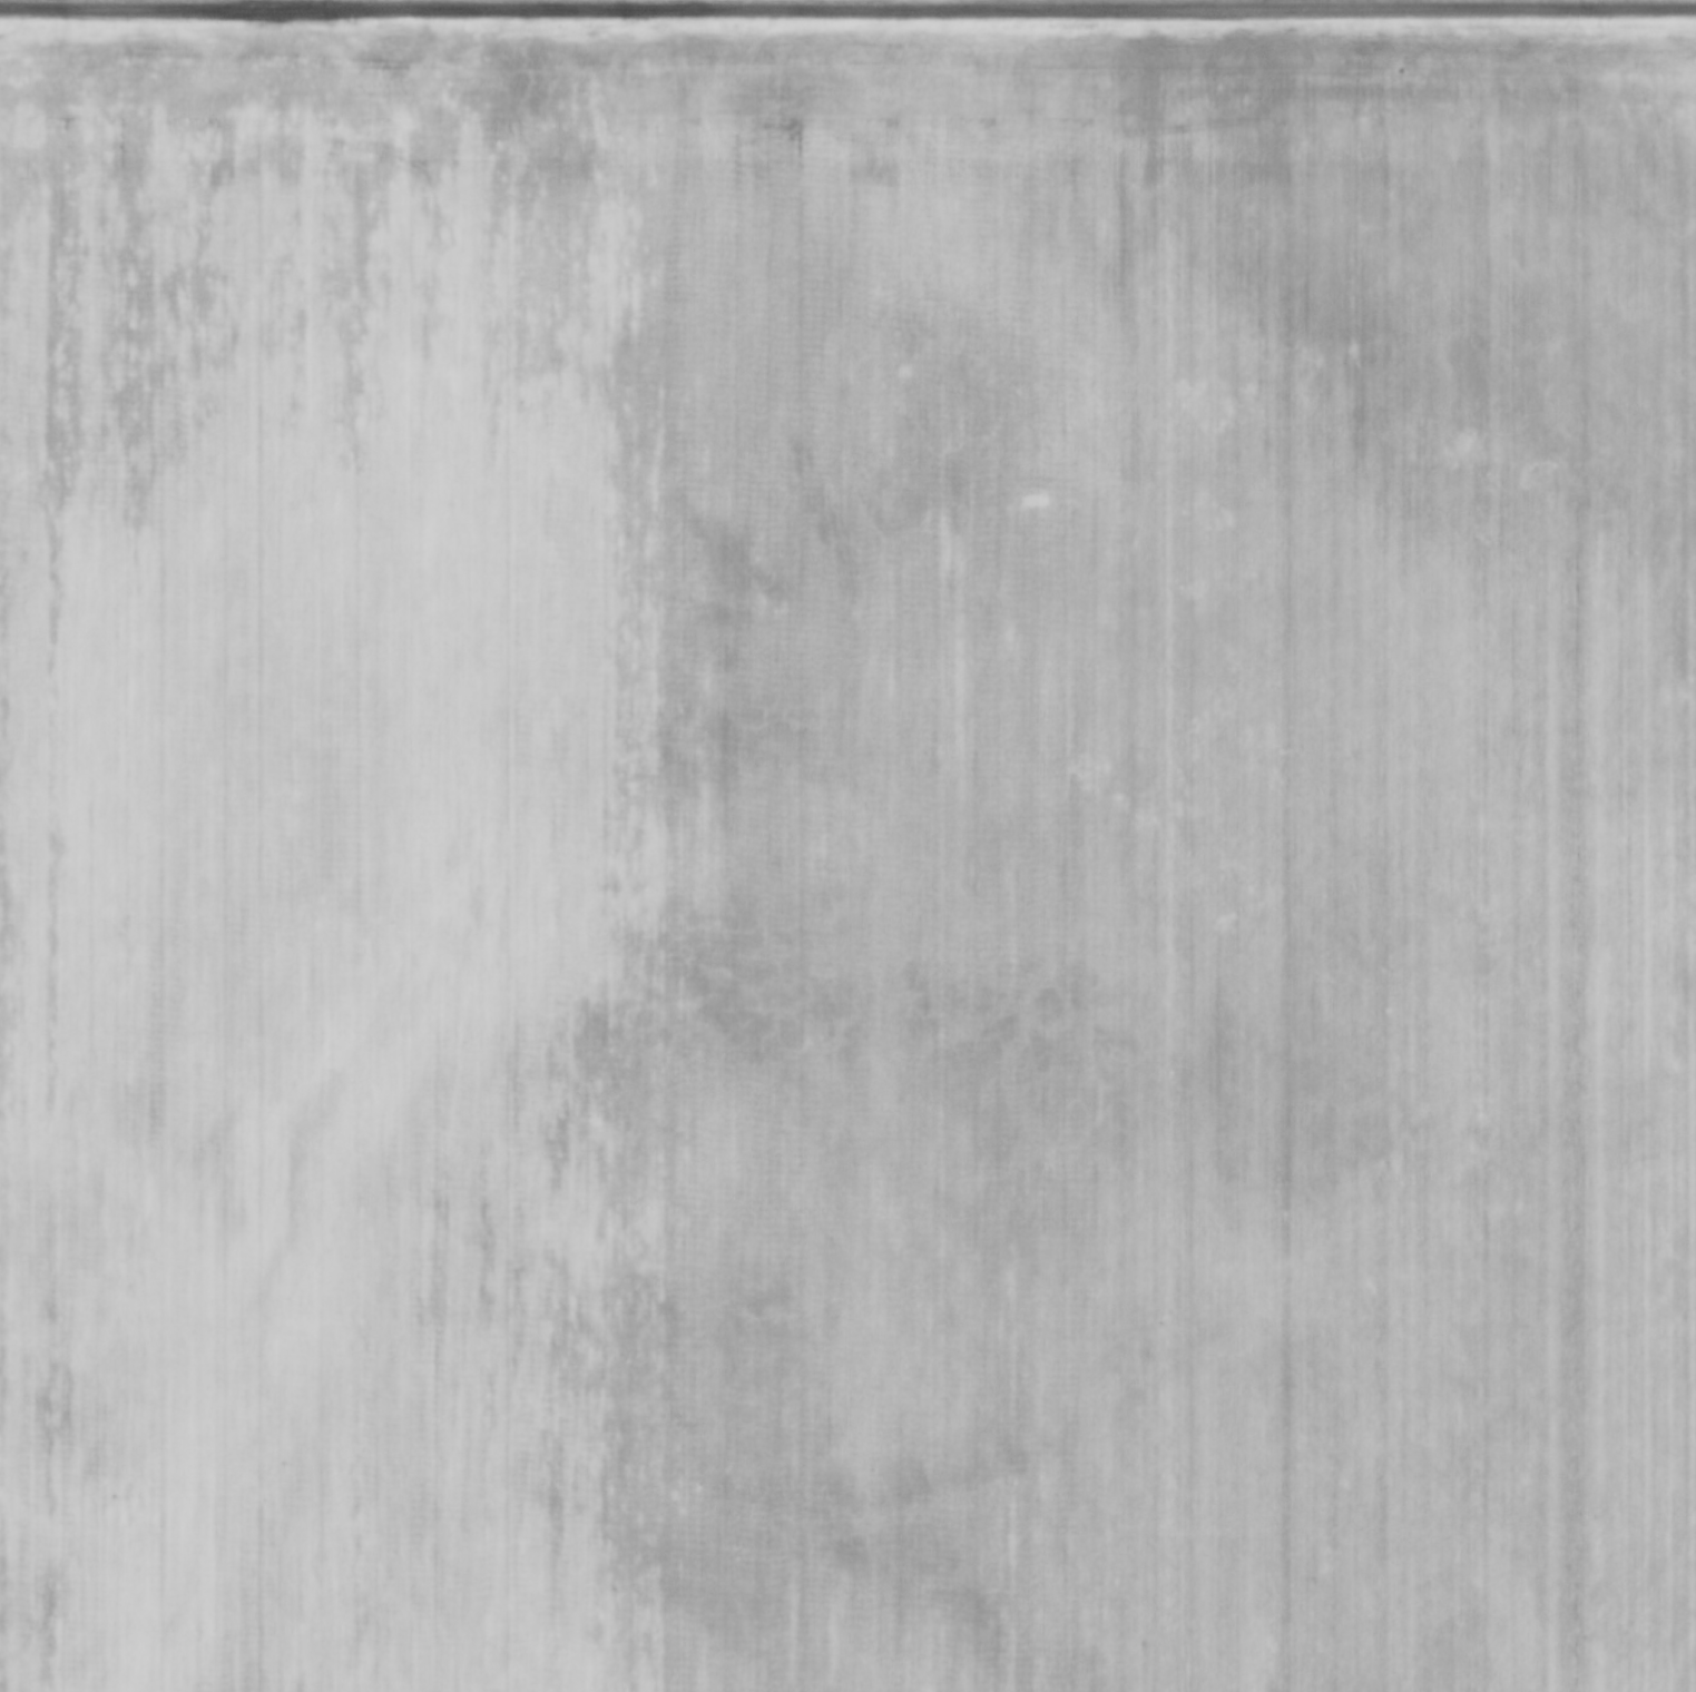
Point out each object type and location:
road: (847, 12)

